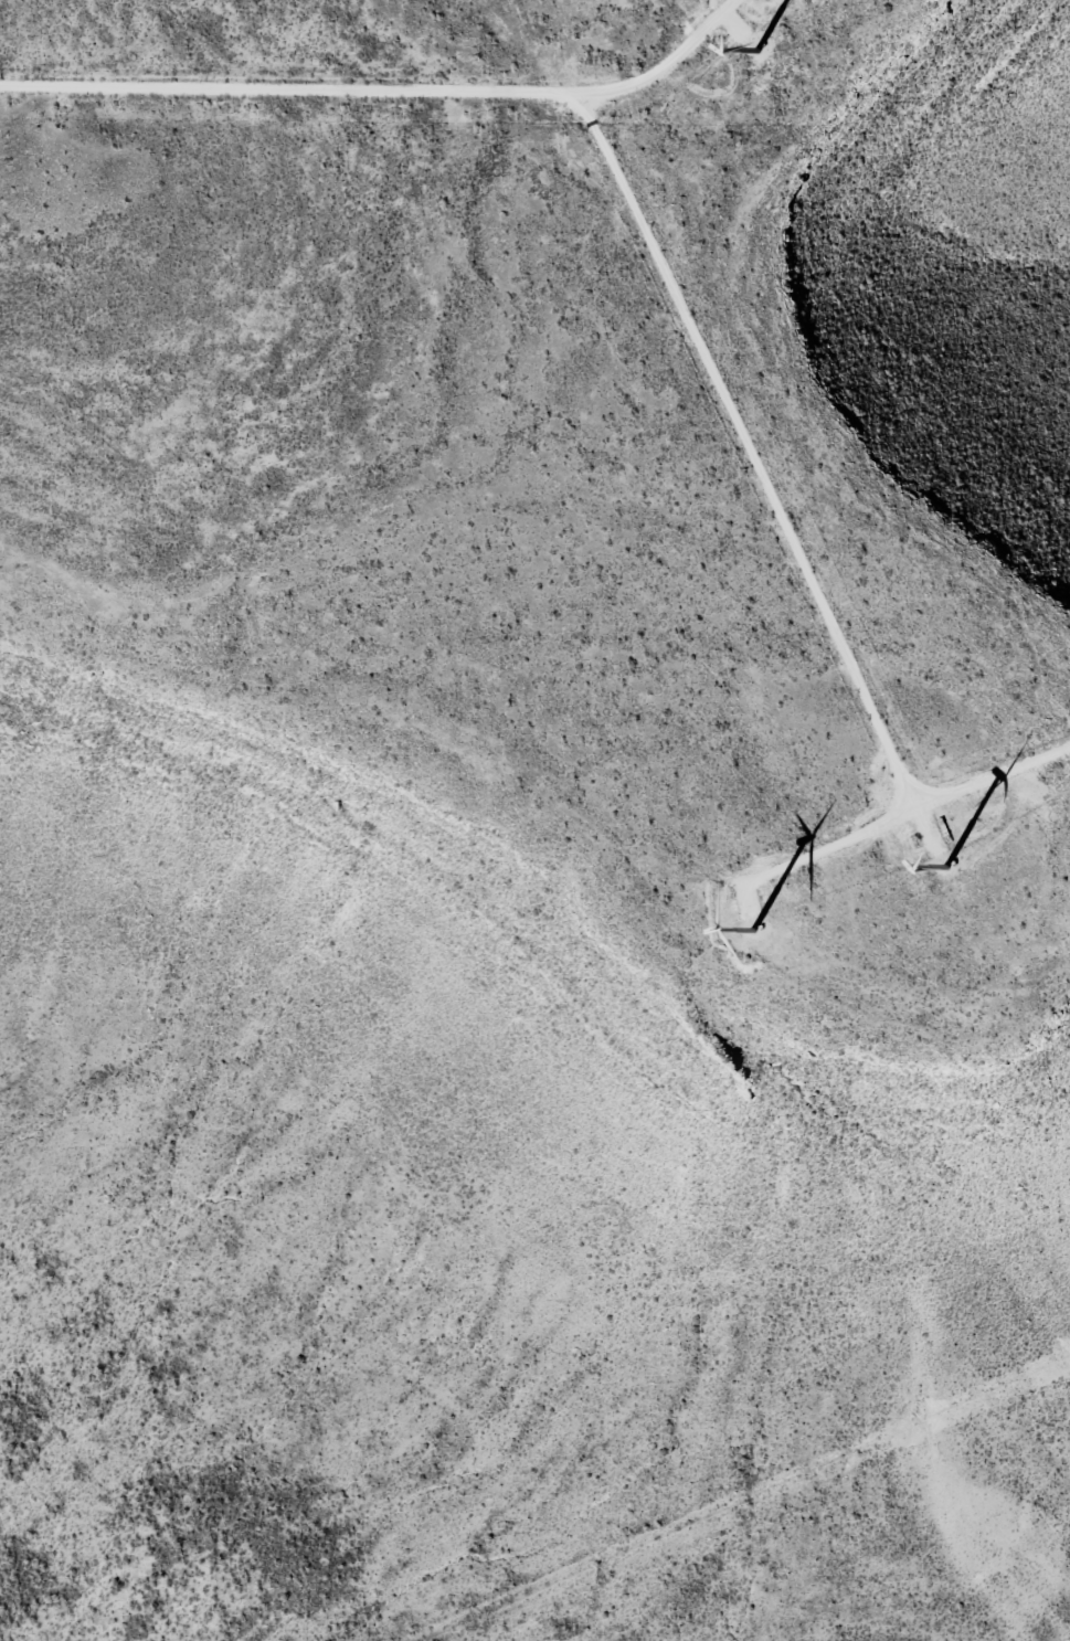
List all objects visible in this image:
wind turbine: (771, 60)
wind turbine: (943, 877)
wind turbine: (759, 938)

